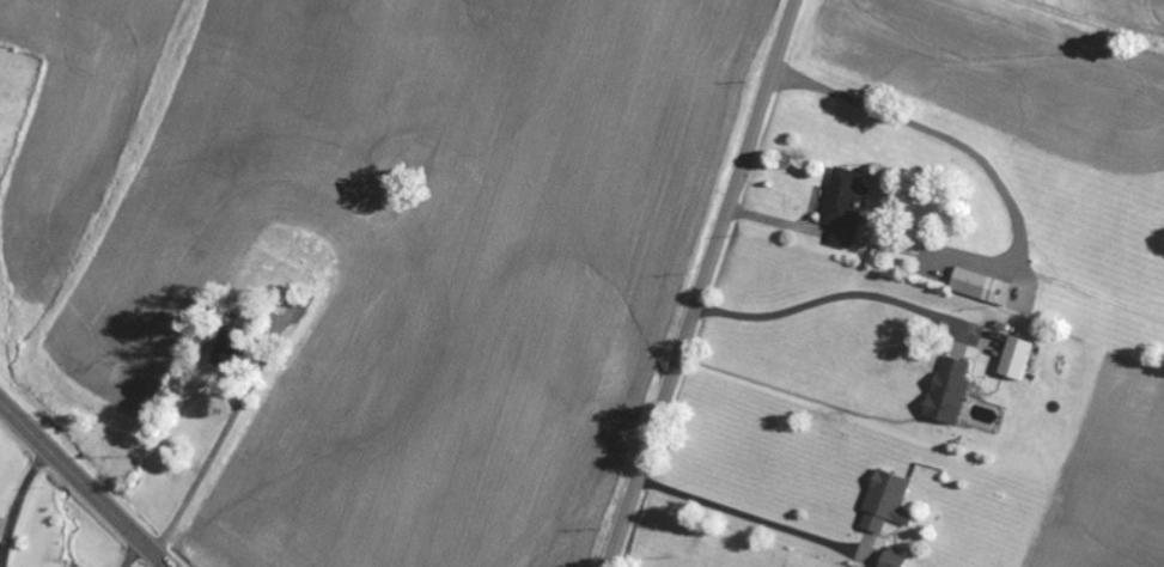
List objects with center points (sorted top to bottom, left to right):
road: (1147, 5)
building: (429, 122)
building: (471, 181)
building: (847, 206)
road: (699, 283)
building: (987, 287)
building: (951, 390)
road: (81, 484)
building: (890, 504)
building: (898, 561)

